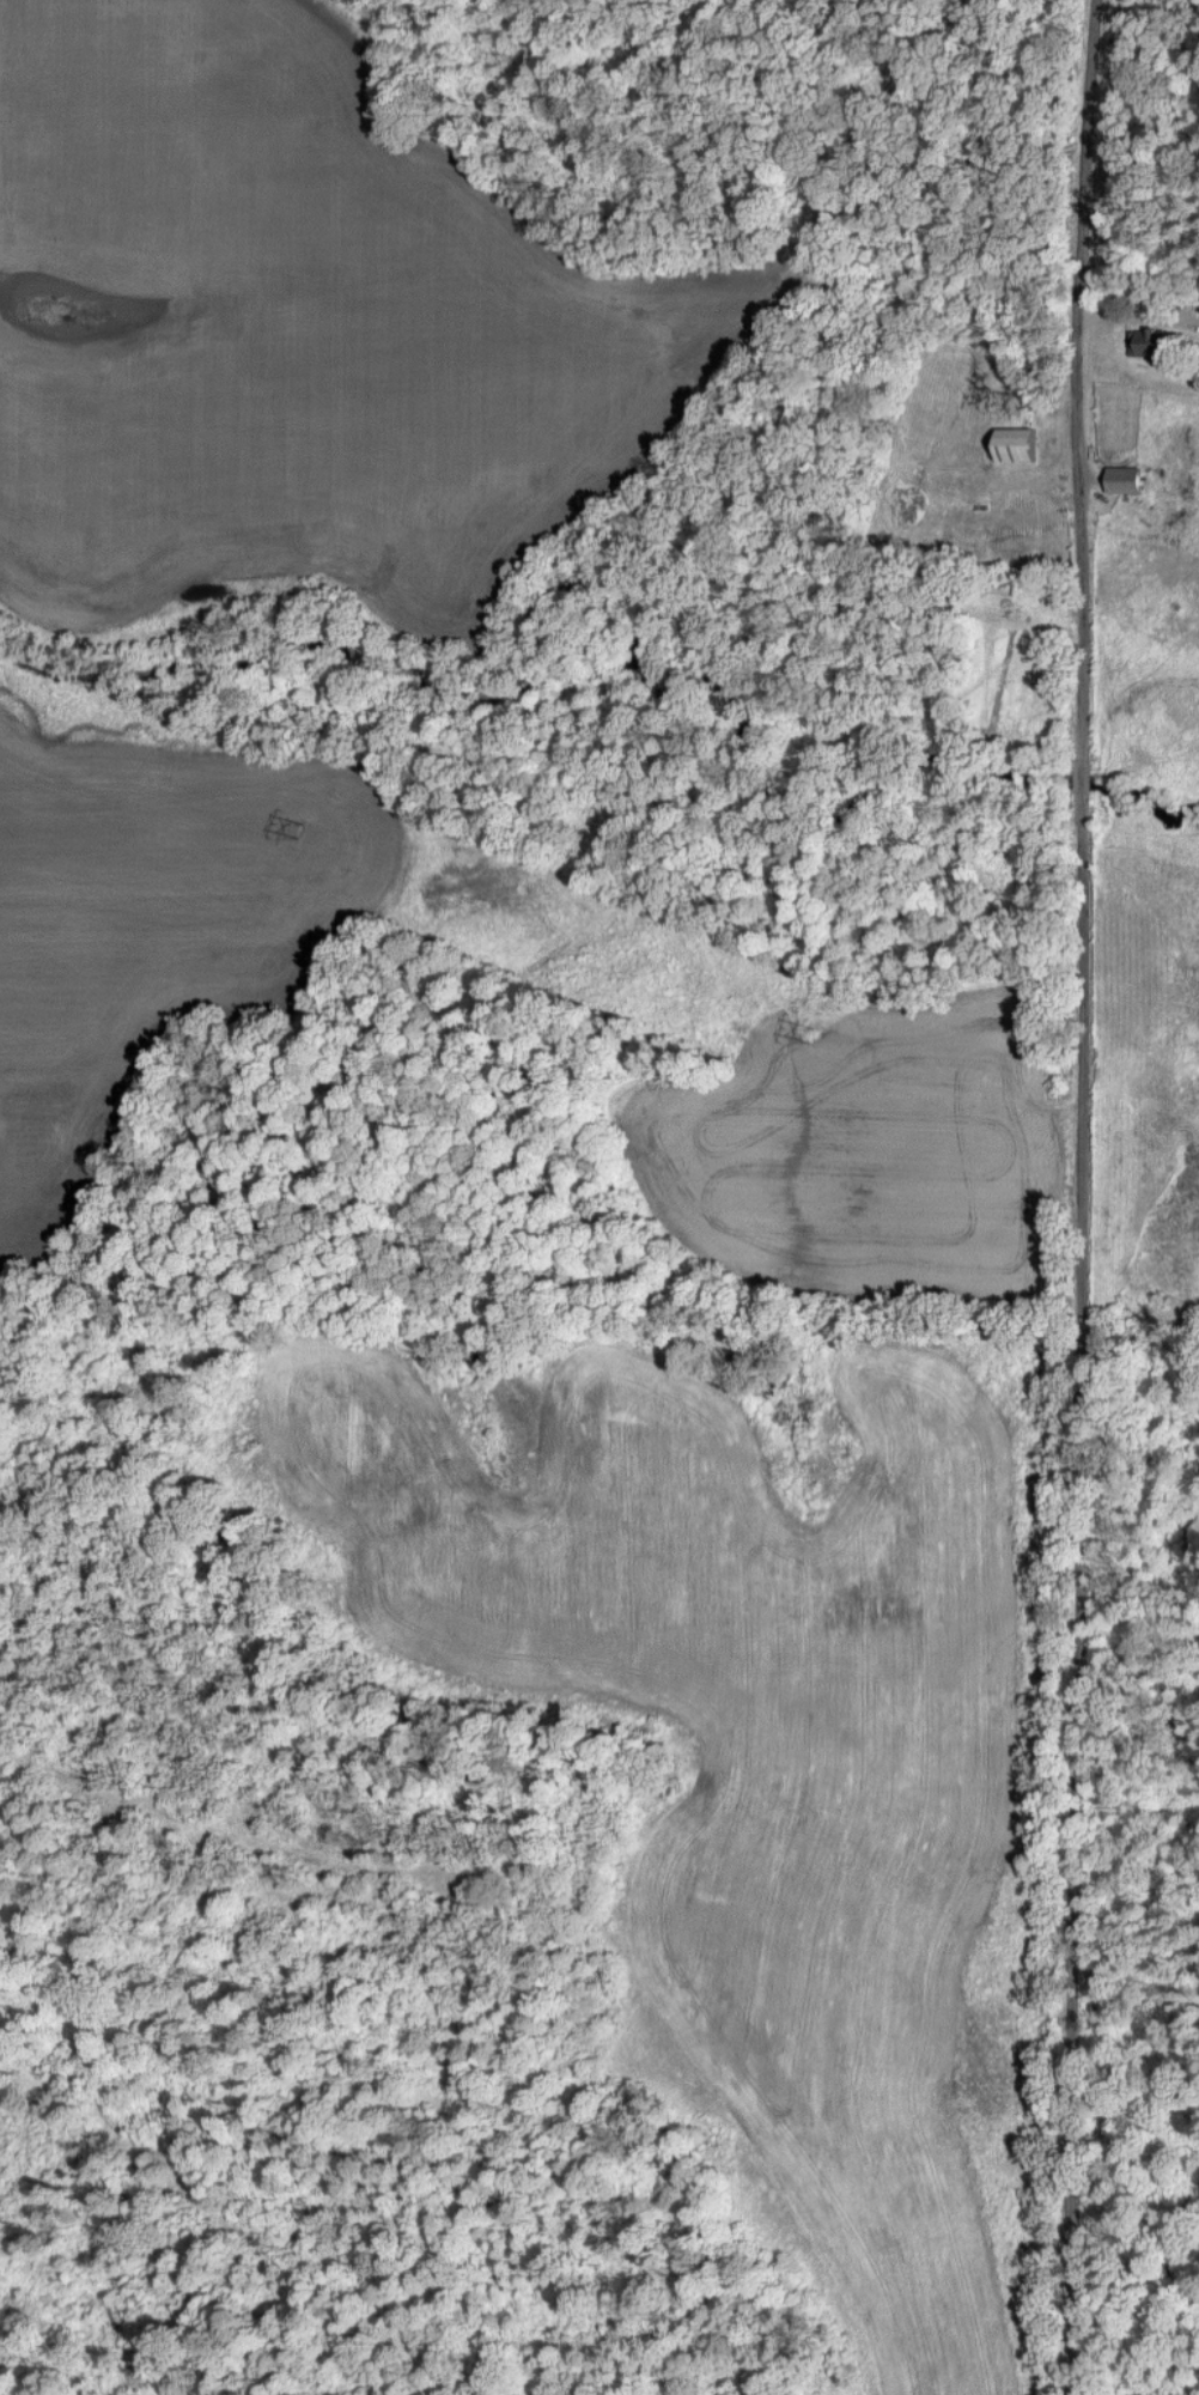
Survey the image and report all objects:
power tower: (303, 831)
power tower: (811, 1033)
road: (1076, 1197)

